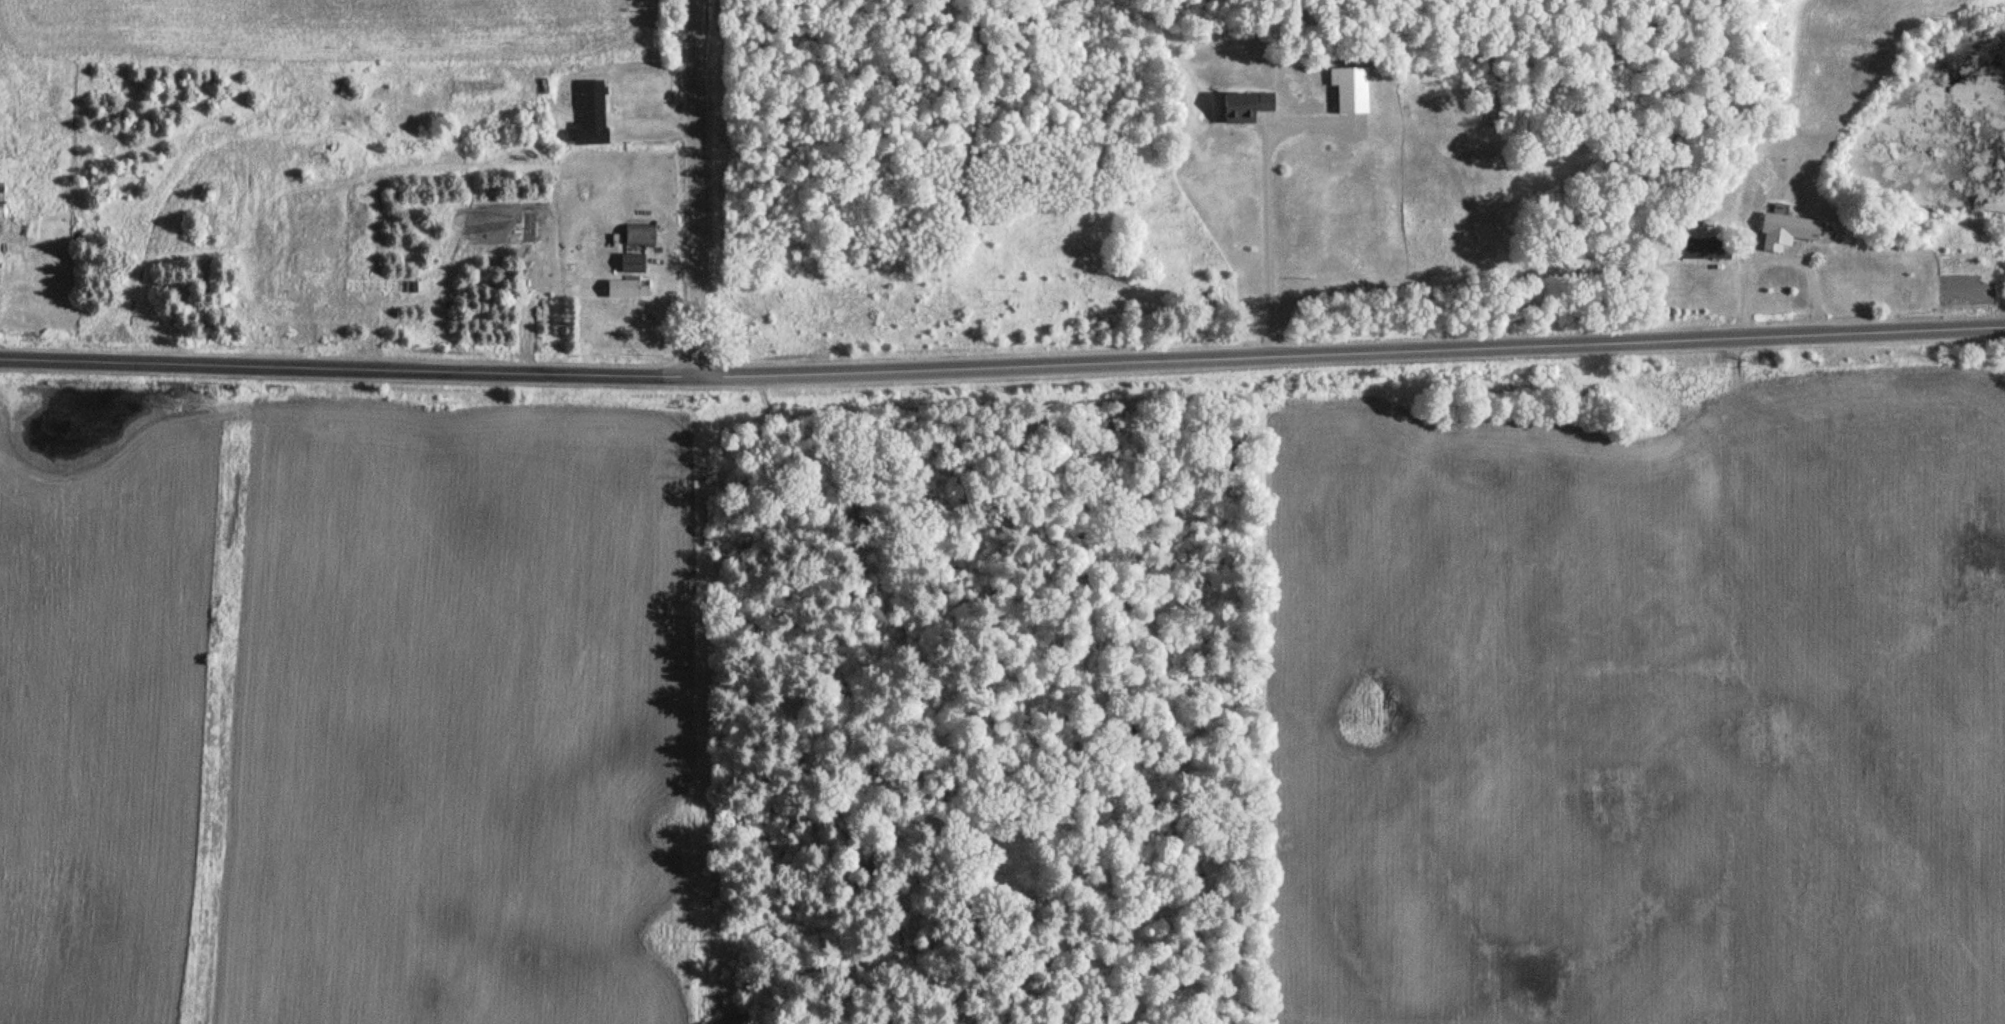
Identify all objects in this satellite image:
building: (1347, 89)
building: (1241, 107)
building: (589, 114)
road: (655, 124)
road: (696, 187)
building: (1, 199)
road: (1267, 200)
building: (1781, 233)
road: (684, 234)
building: (1703, 249)
building: (629, 263)
road: (678, 267)
building: (370, 287)
building: (623, 288)
building: (1904, 297)
building: (292, 304)
road: (372, 333)
road: (311, 341)
road: (1002, 362)

